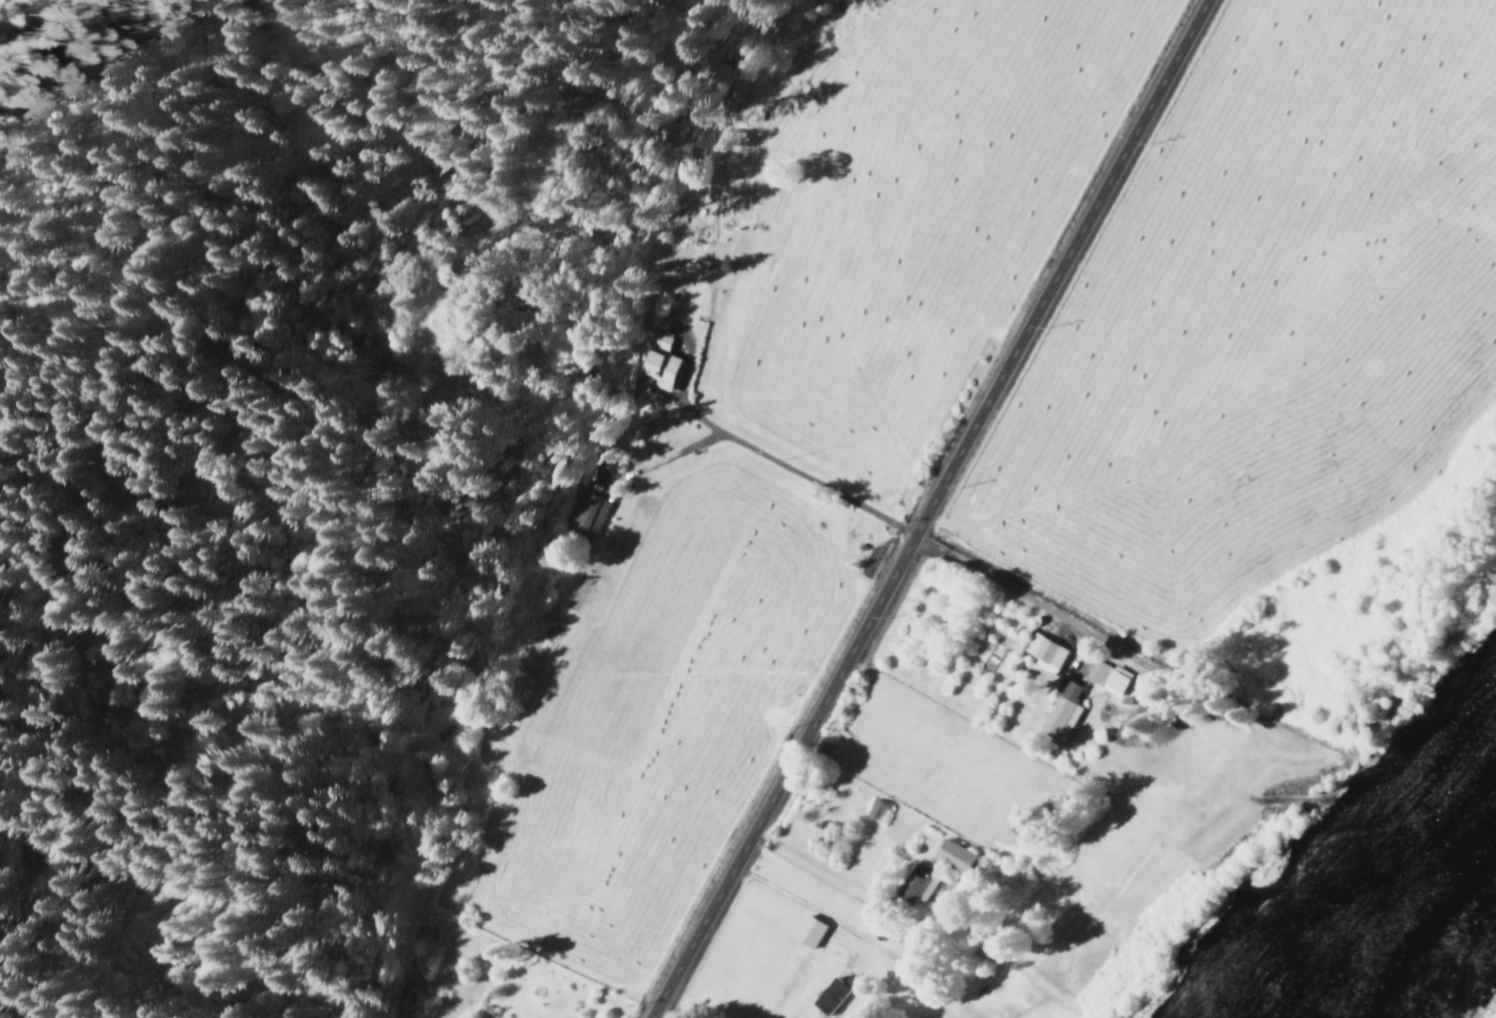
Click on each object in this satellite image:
building: (659, 342)
building: (656, 368)
road: (928, 508)
building: (583, 512)
building: (1043, 653)
building: (1105, 677)
building: (1059, 710)
building: (873, 810)
building: (951, 855)
building: (917, 878)
river: (1417, 924)
building: (805, 931)
building: (829, 994)

